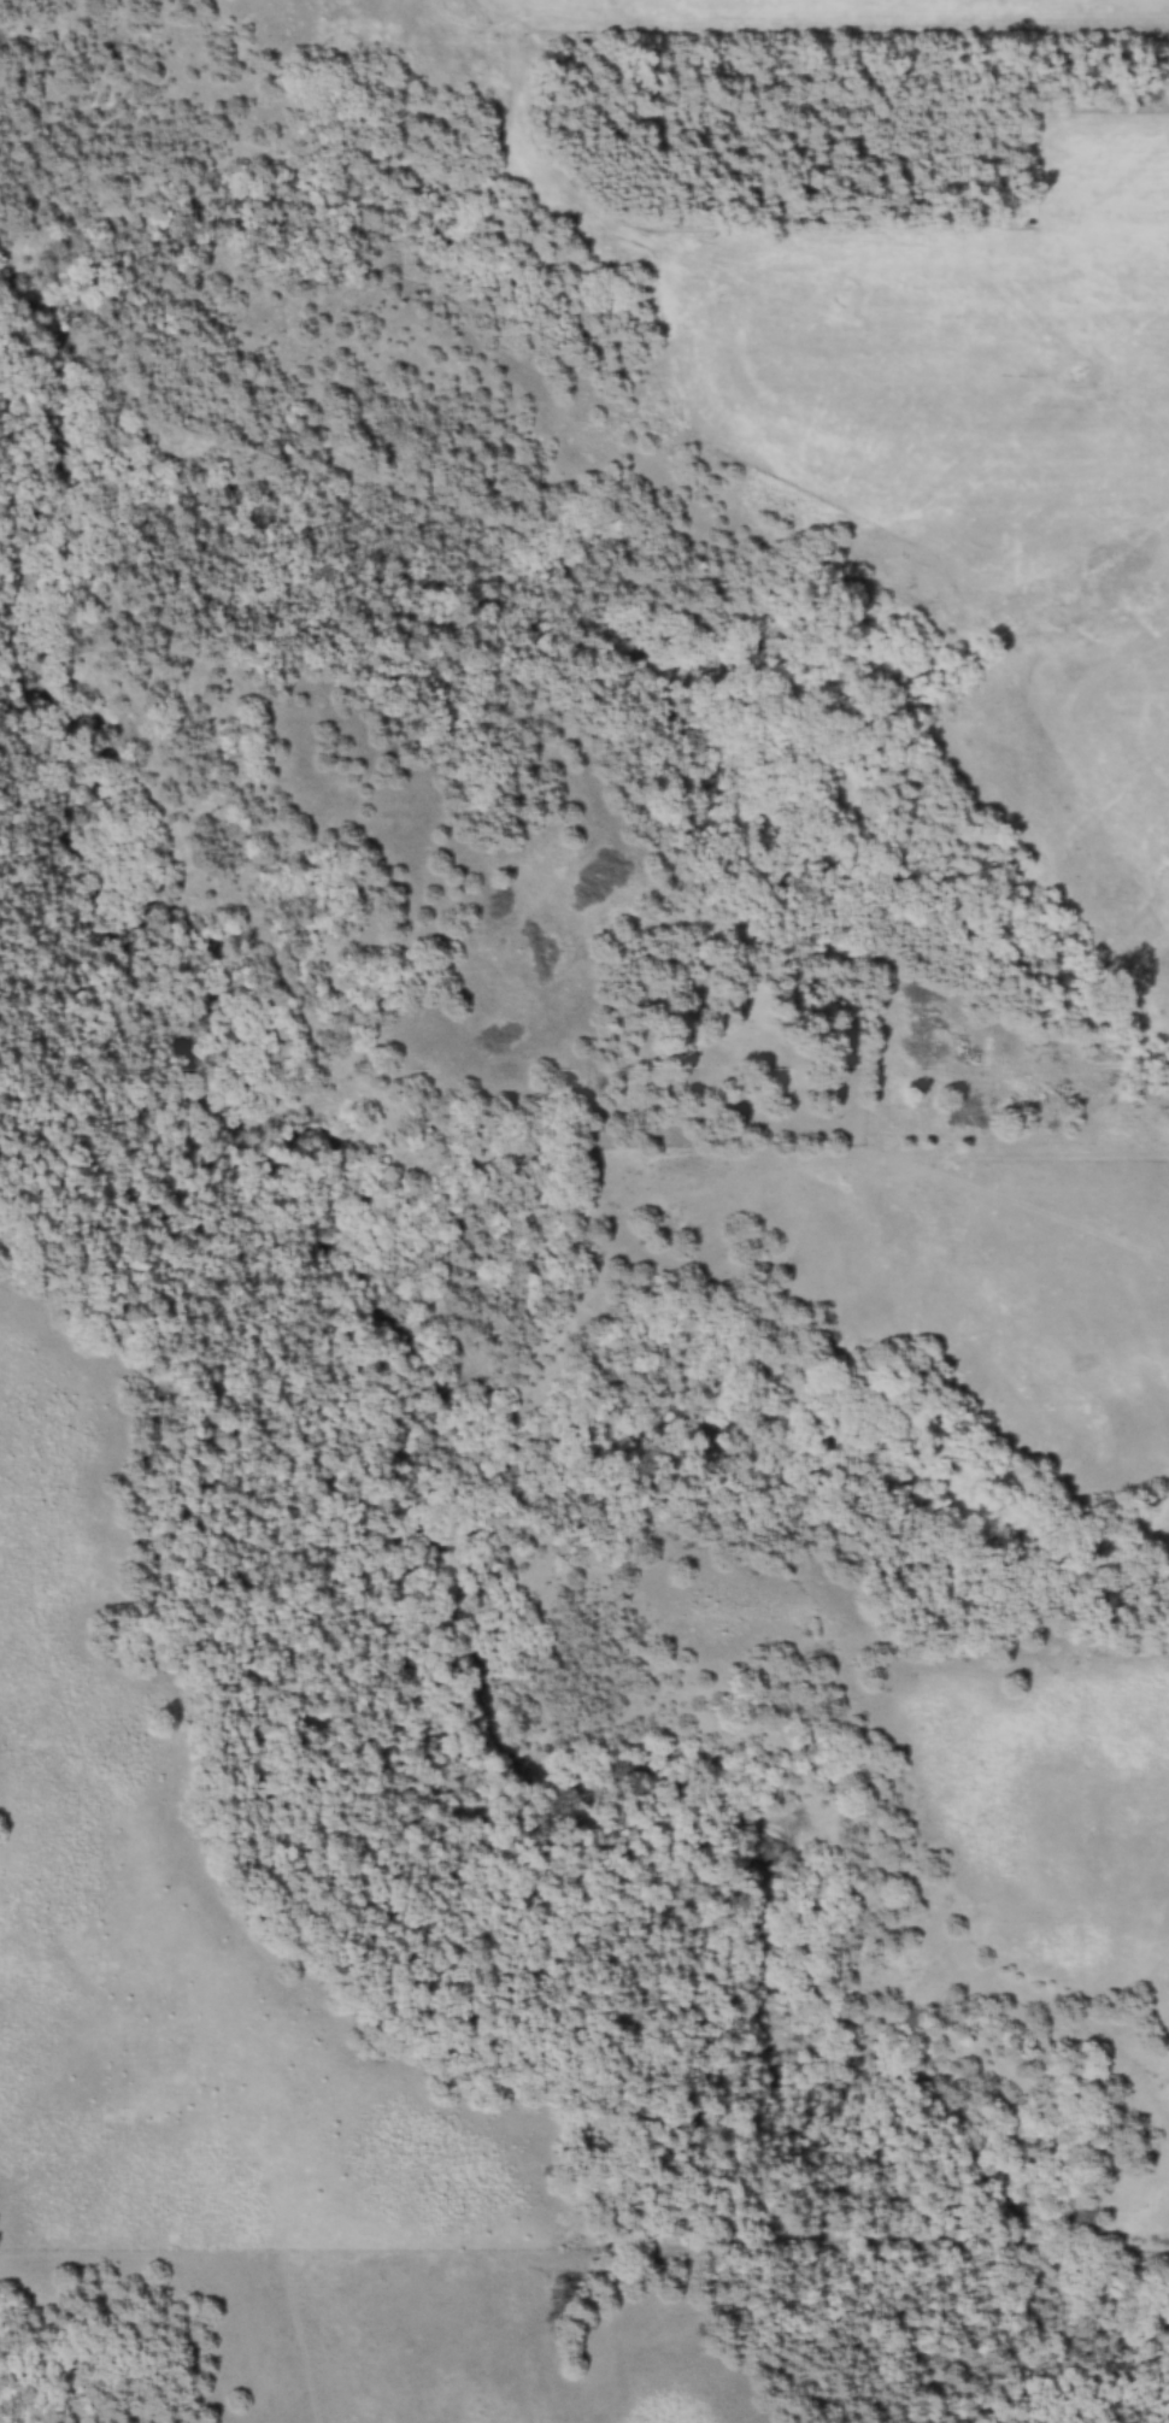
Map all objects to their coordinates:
park: (745, 1041)

